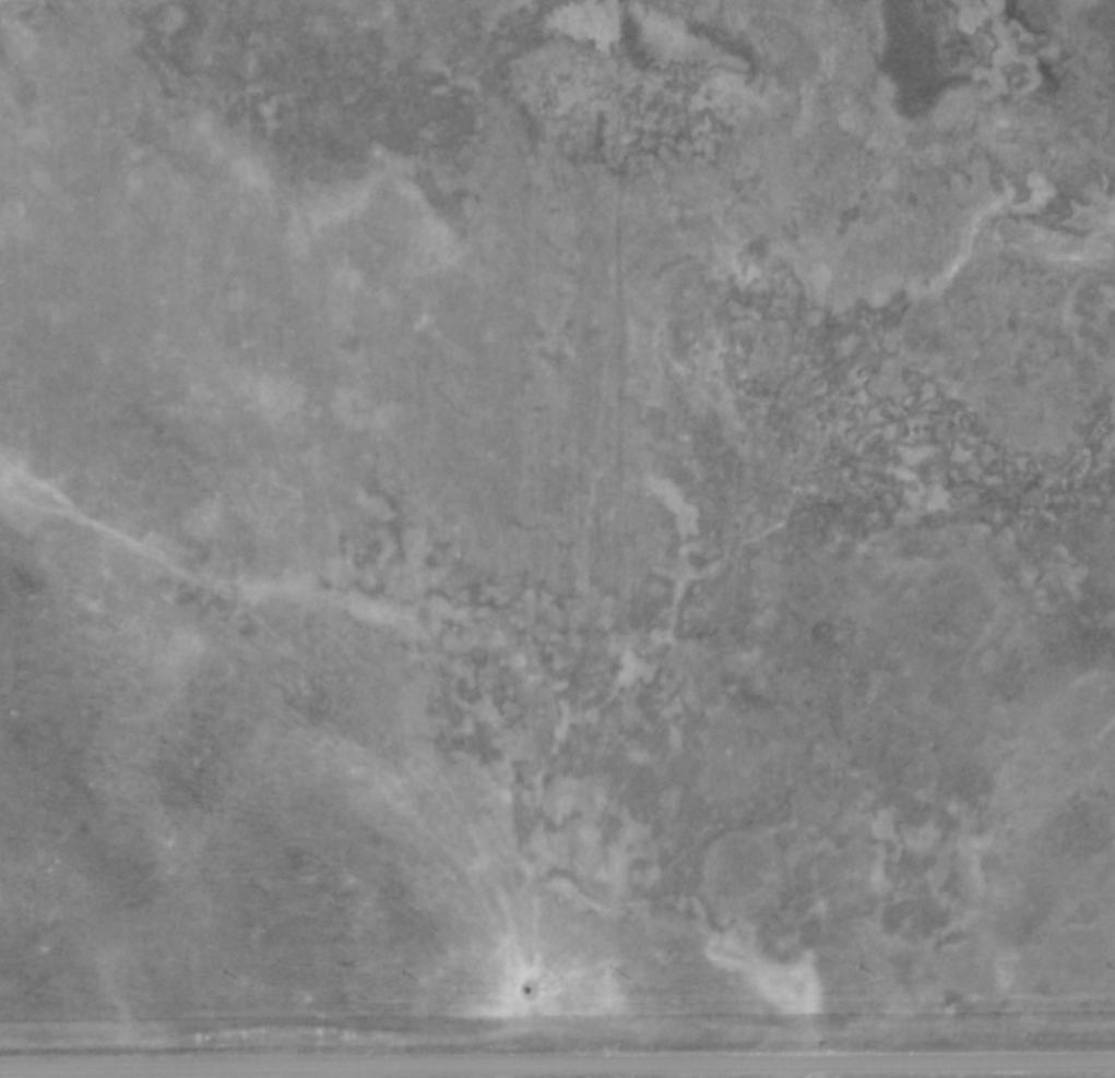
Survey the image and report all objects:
road: (558, 1066)

